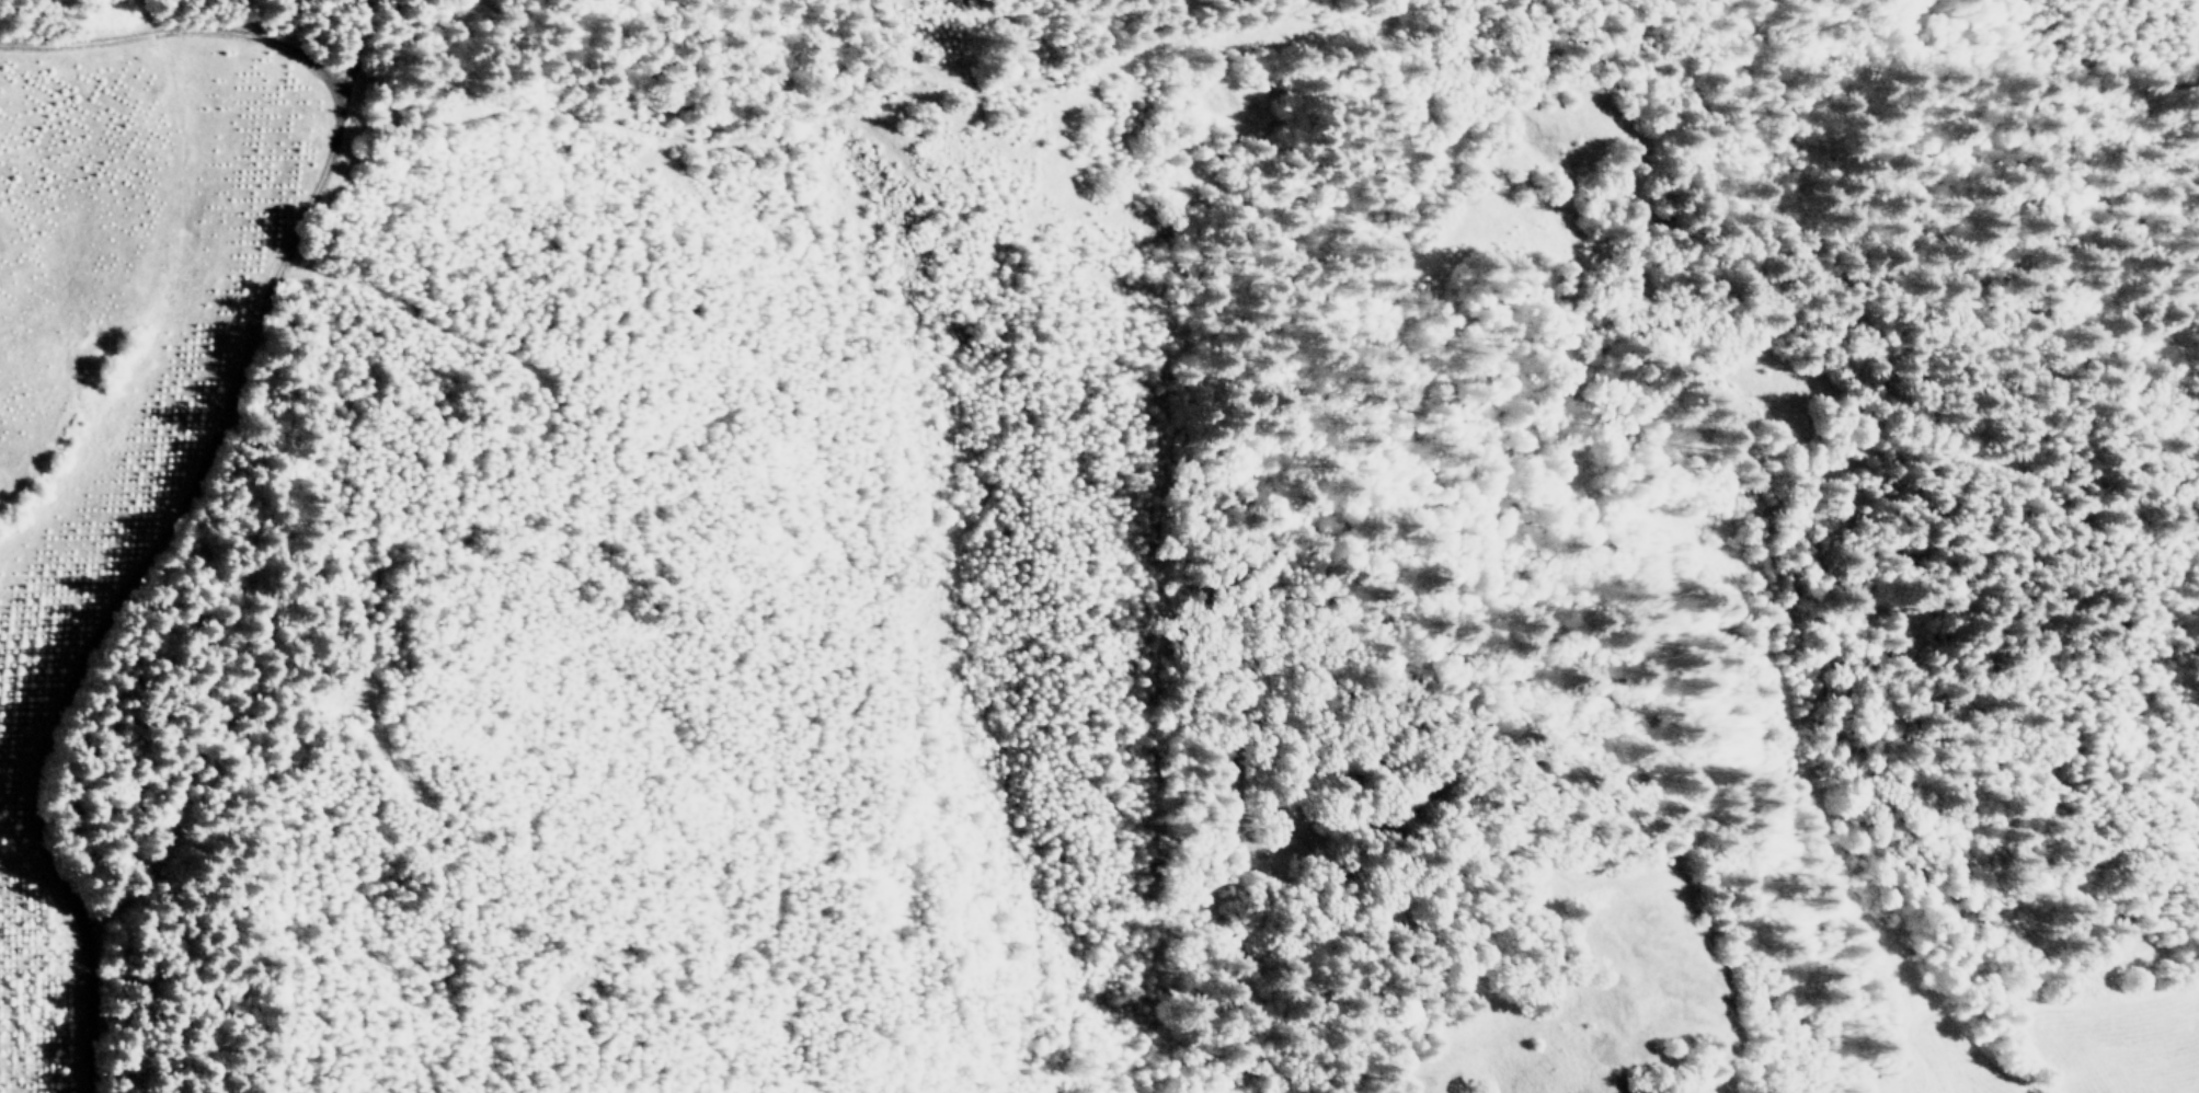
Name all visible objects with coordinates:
road: (206, 428)
road: (489, 566)

